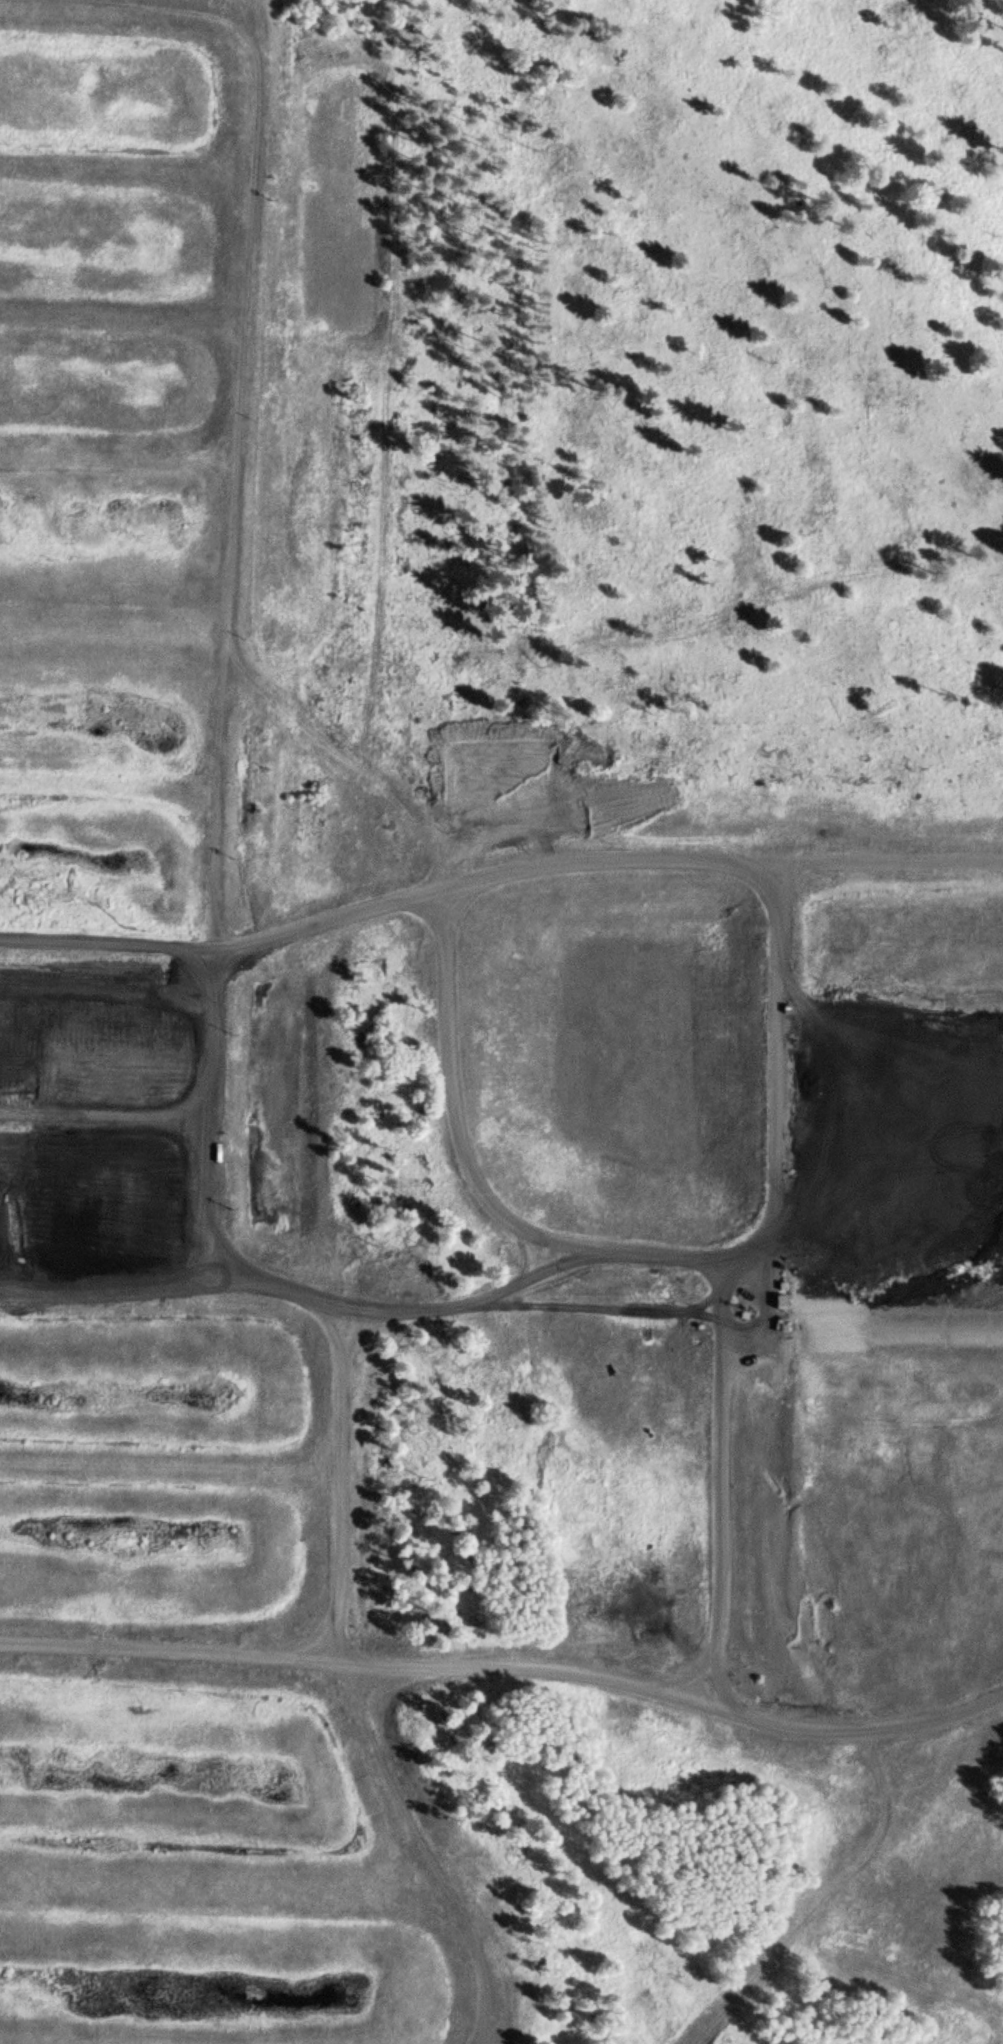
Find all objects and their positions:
road: (497, 874)

